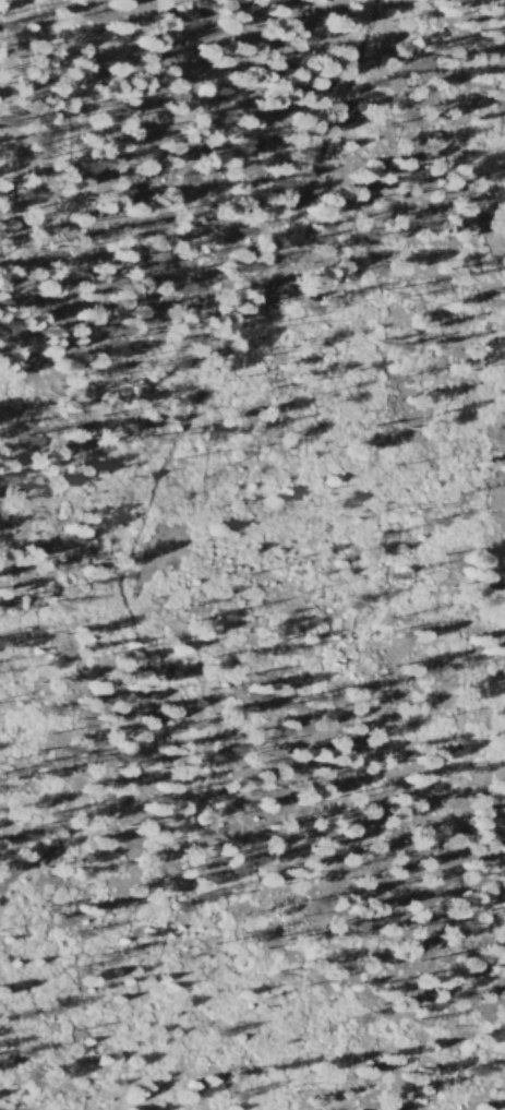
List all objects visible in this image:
road: (177, 477)

